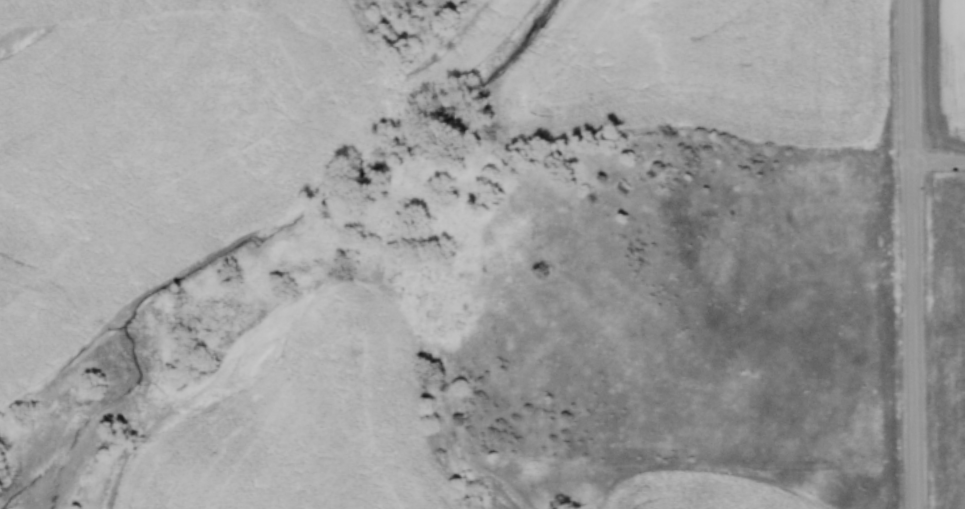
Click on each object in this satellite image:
road: (939, 163)
road: (914, 254)

